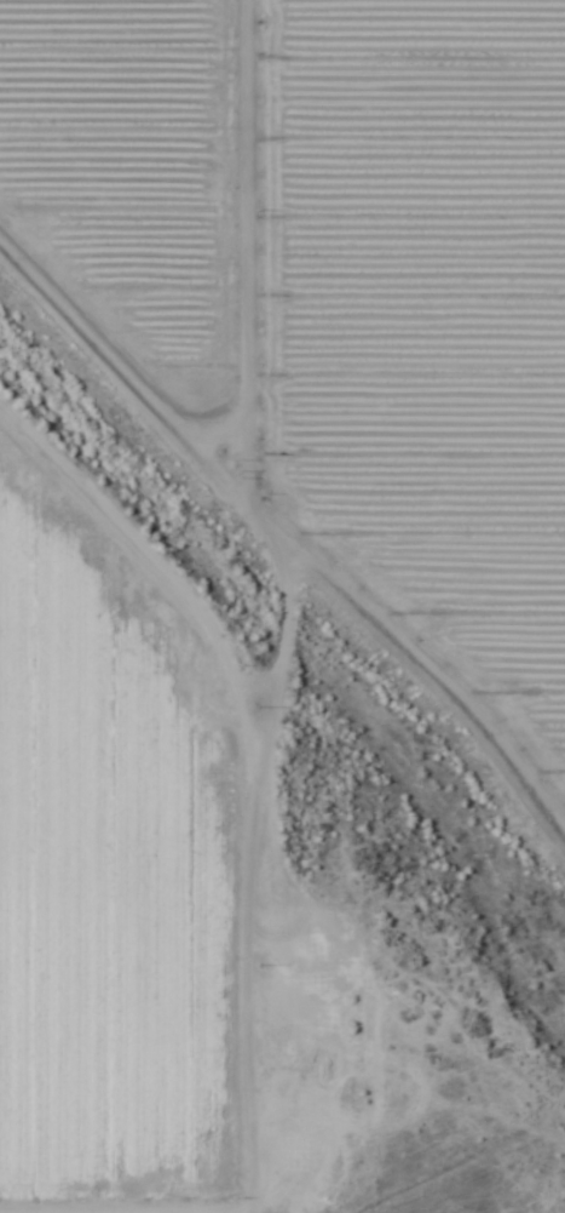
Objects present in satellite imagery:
crop: (282, 606)
road: (287, 606)
road: (281, 691)

